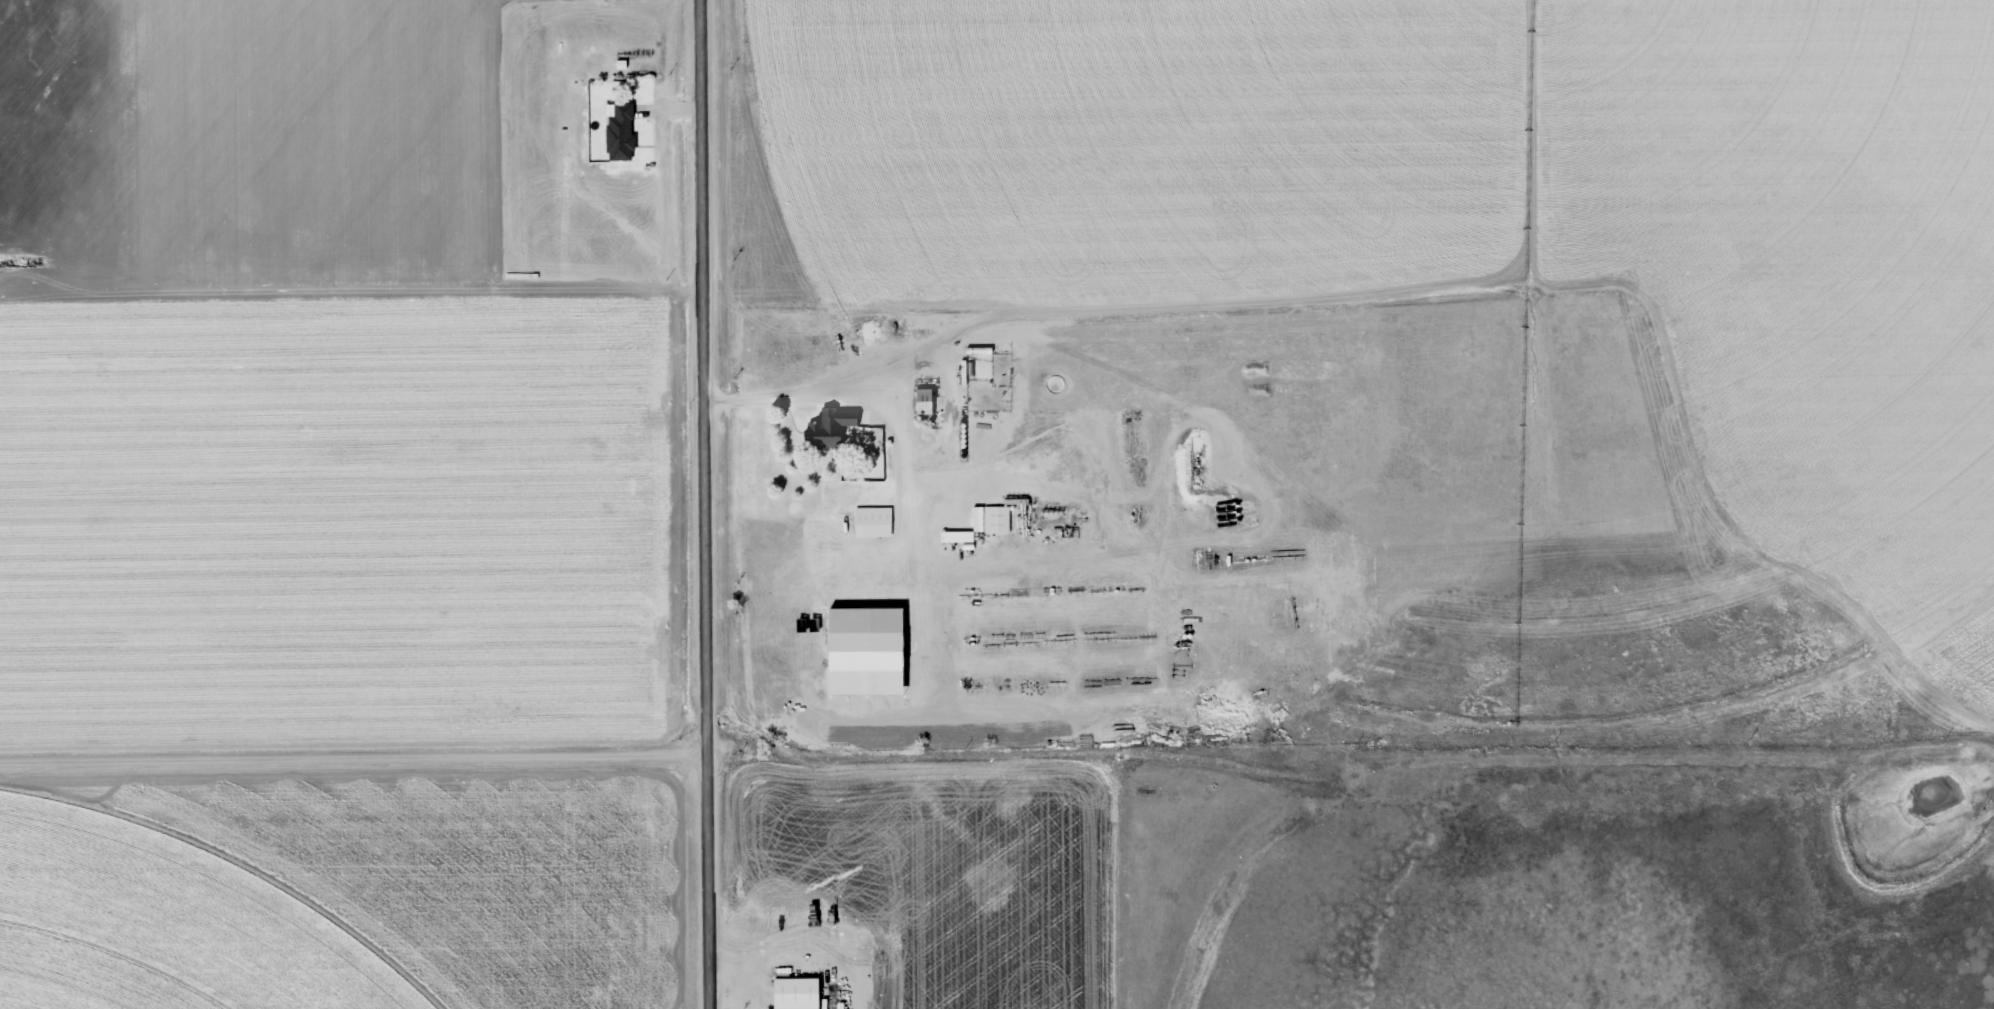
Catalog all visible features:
building: (615, 134)
building: (985, 361)
road: (877, 399)
building: (920, 402)
building: (826, 429)
road: (705, 504)
building: (994, 520)
building: (869, 523)
building: (1115, 718)
road: (353, 758)
building: (791, 993)

